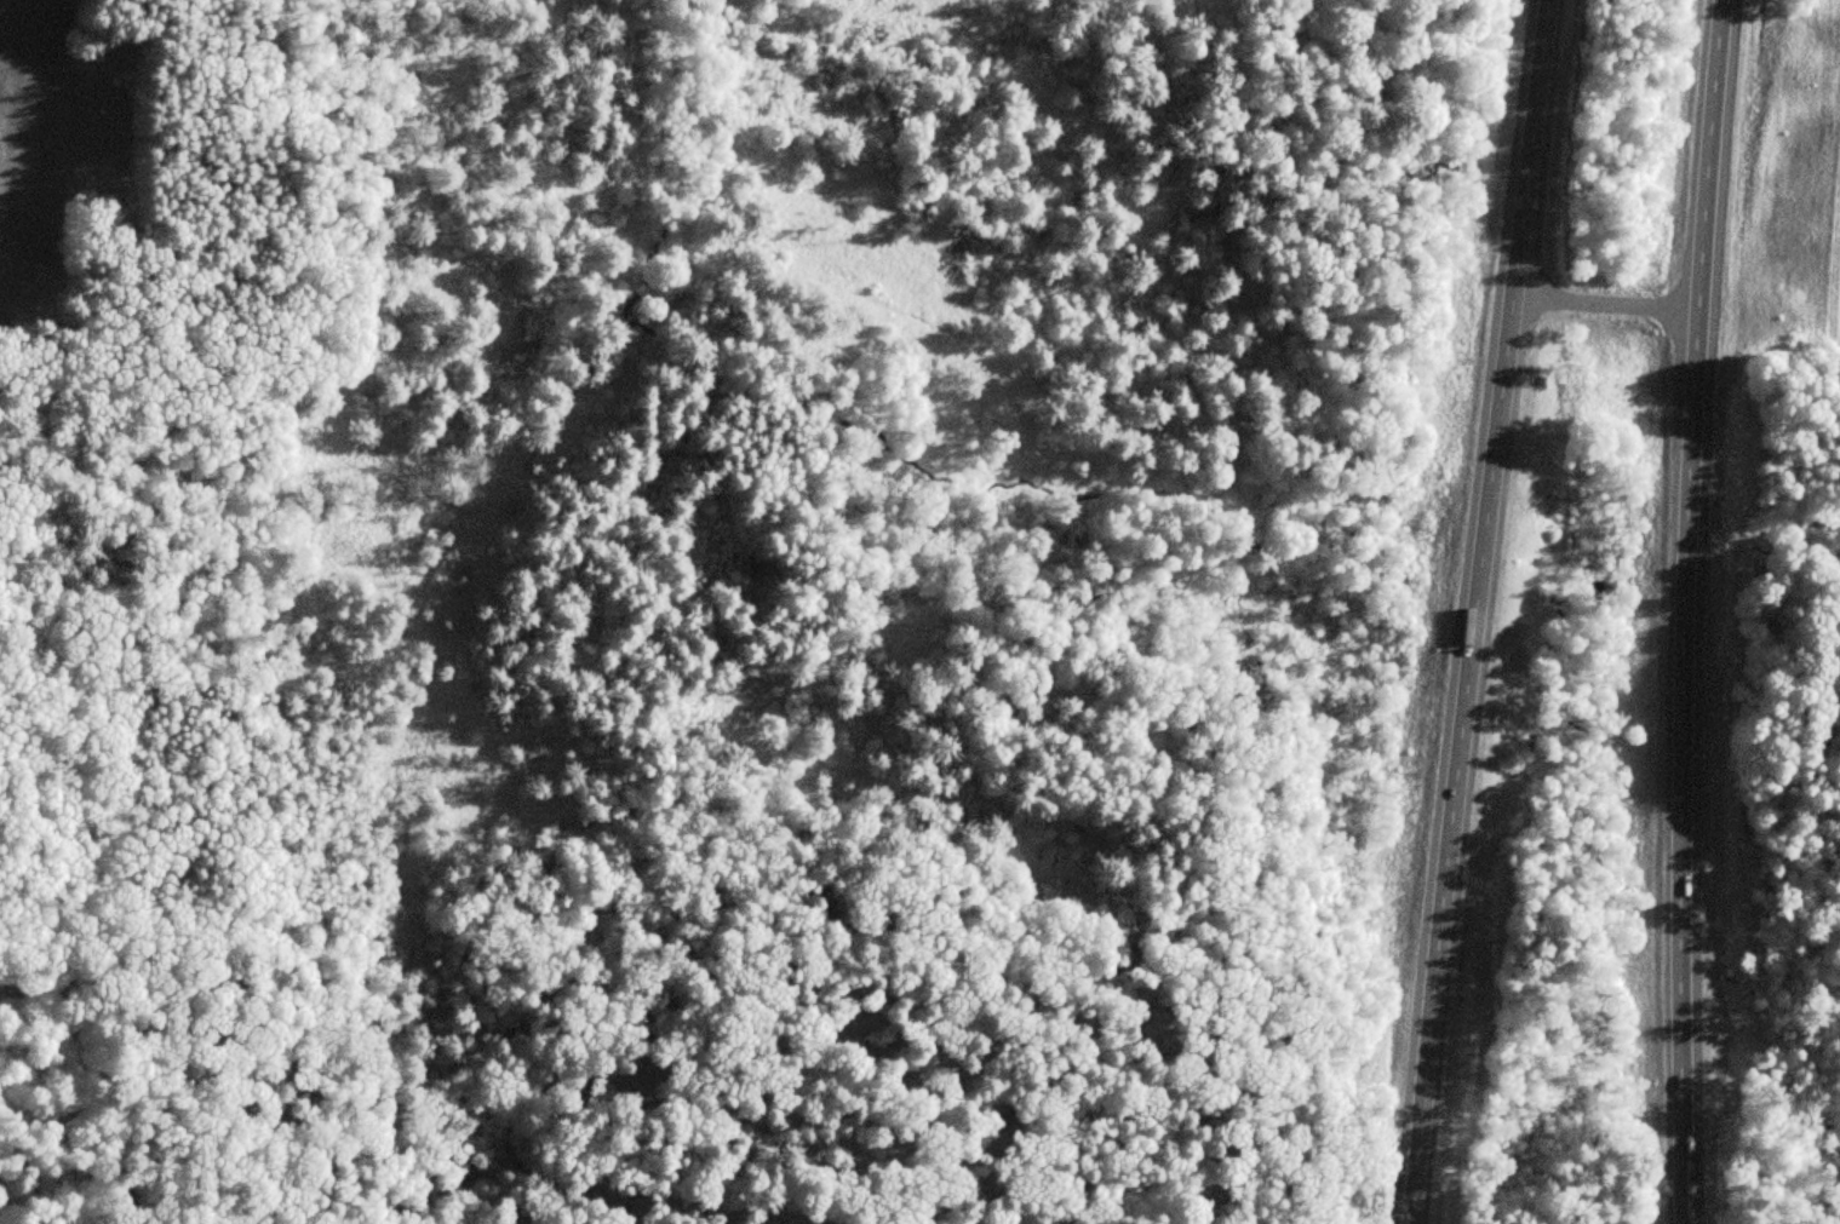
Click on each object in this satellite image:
road: (1589, 299)
road: (1446, 610)
road: (1676, 610)

